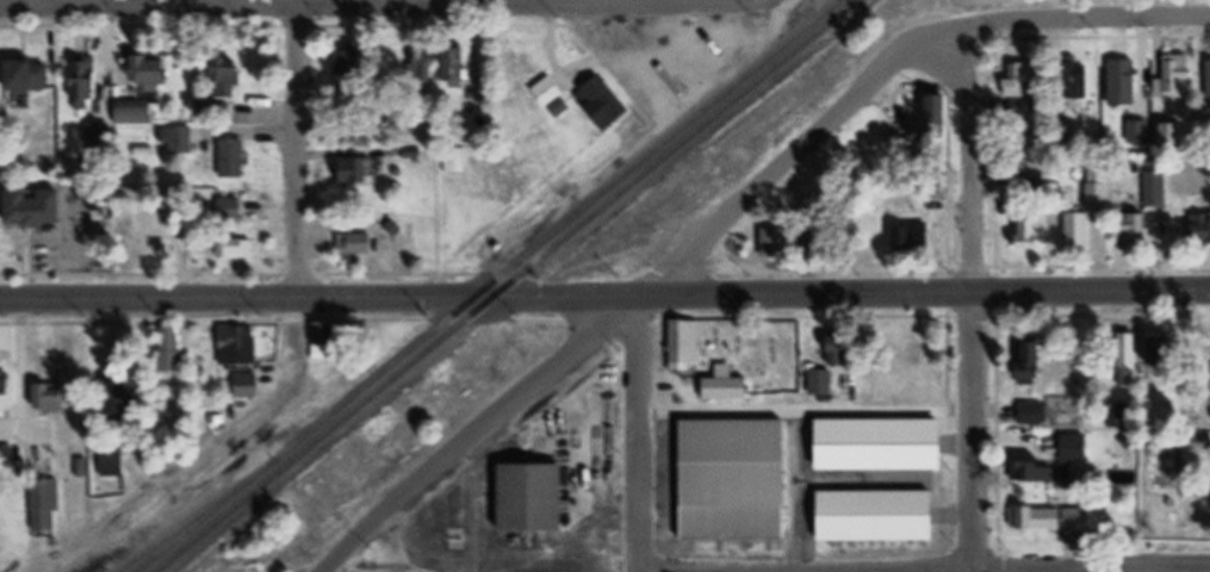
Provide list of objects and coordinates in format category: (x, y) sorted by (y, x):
road: (526, 0)
road: (1063, 18)
building: (349, 62)
building: (424, 66)
building: (458, 67)
building: (157, 73)
building: (31, 77)
building: (1171, 77)
building: (230, 79)
building: (1012, 81)
building: (1133, 81)
building: (1205, 81)
building: (1069, 83)
building: (85, 87)
building: (541, 94)
building: (477, 97)
building: (595, 105)
building: (1017, 108)
building: (136, 112)
building: (929, 118)
building: (178, 141)
road: (296, 149)
building: (234, 157)
building: (457, 161)
road: (780, 168)
building: (358, 170)
building: (1152, 192)
building: (1092, 194)
building: (37, 209)
building: (232, 210)
building: (147, 219)
building: (1023, 229)
building: (1123, 229)
building: (1196, 231)
building: (1071, 232)
building: (905, 241)
building: (355, 243)
building: (767, 245)
building: (235, 247)
railway: (489, 285)
railway: (507, 286)
road: (969, 294)
road: (604, 298)
road: (1042, 318)
building: (330, 336)
building: (240, 344)
building: (678, 344)
building: (173, 348)
building: (1121, 361)
building: (1022, 365)
building: (814, 385)
building: (248, 386)
building: (7, 390)
building: (716, 392)
building: (51, 397)
building: (122, 398)
road: (805, 414)
building: (1029, 415)
building: (1111, 417)
road: (485, 435)
road: (639, 435)
building: (1068, 449)
road: (217, 460)
building: (113, 462)
building: (1024, 473)
building: (724, 483)
road: (798, 493)
building: (538, 497)
building: (45, 505)
railway: (196, 517)
building: (865, 518)
building: (1038, 518)
road: (923, 571)

